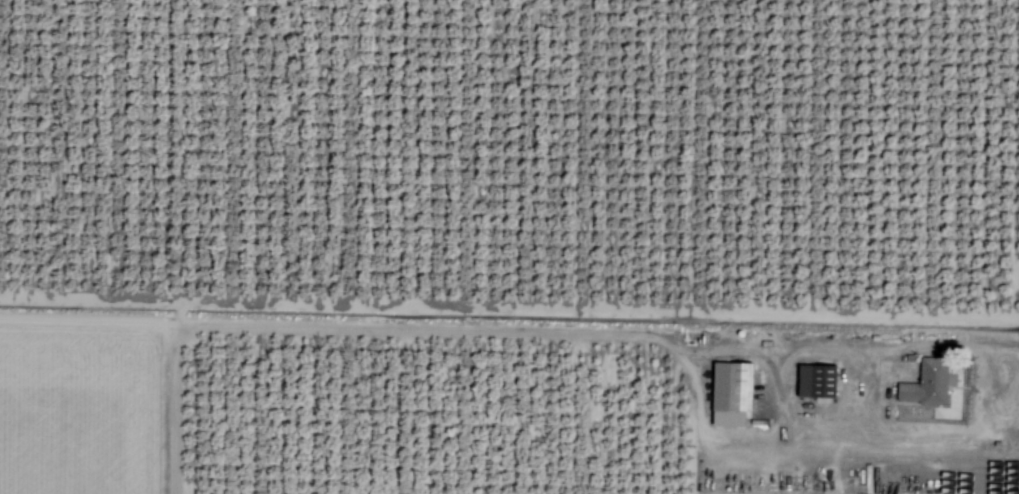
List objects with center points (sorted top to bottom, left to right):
building: (818, 380)
building: (929, 383)
building: (735, 392)
road: (777, 397)
road: (871, 397)

